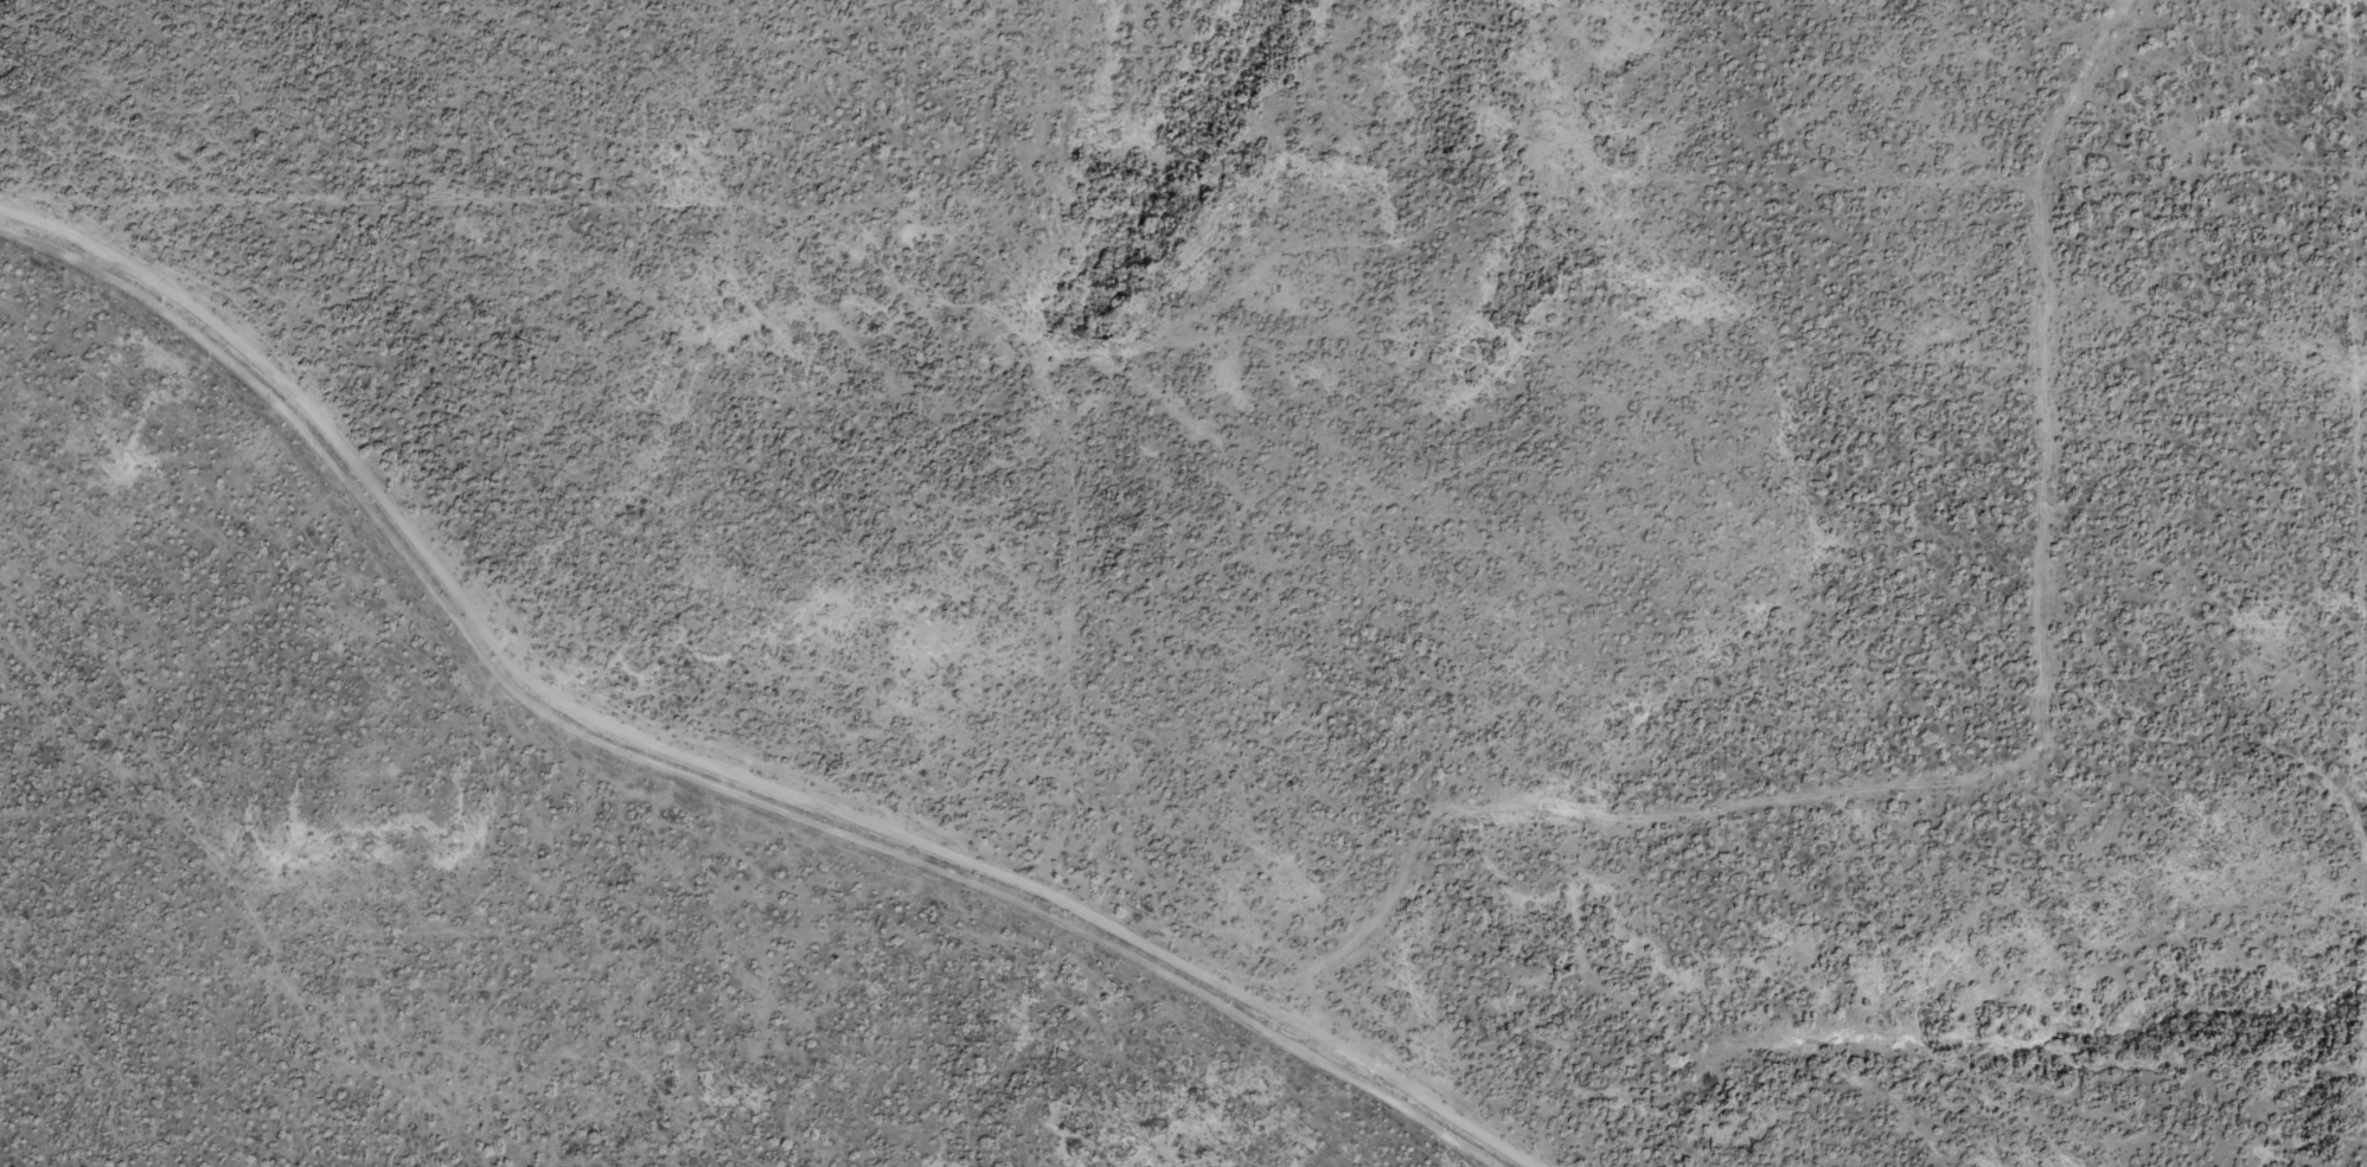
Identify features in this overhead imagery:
road: (706, 790)

